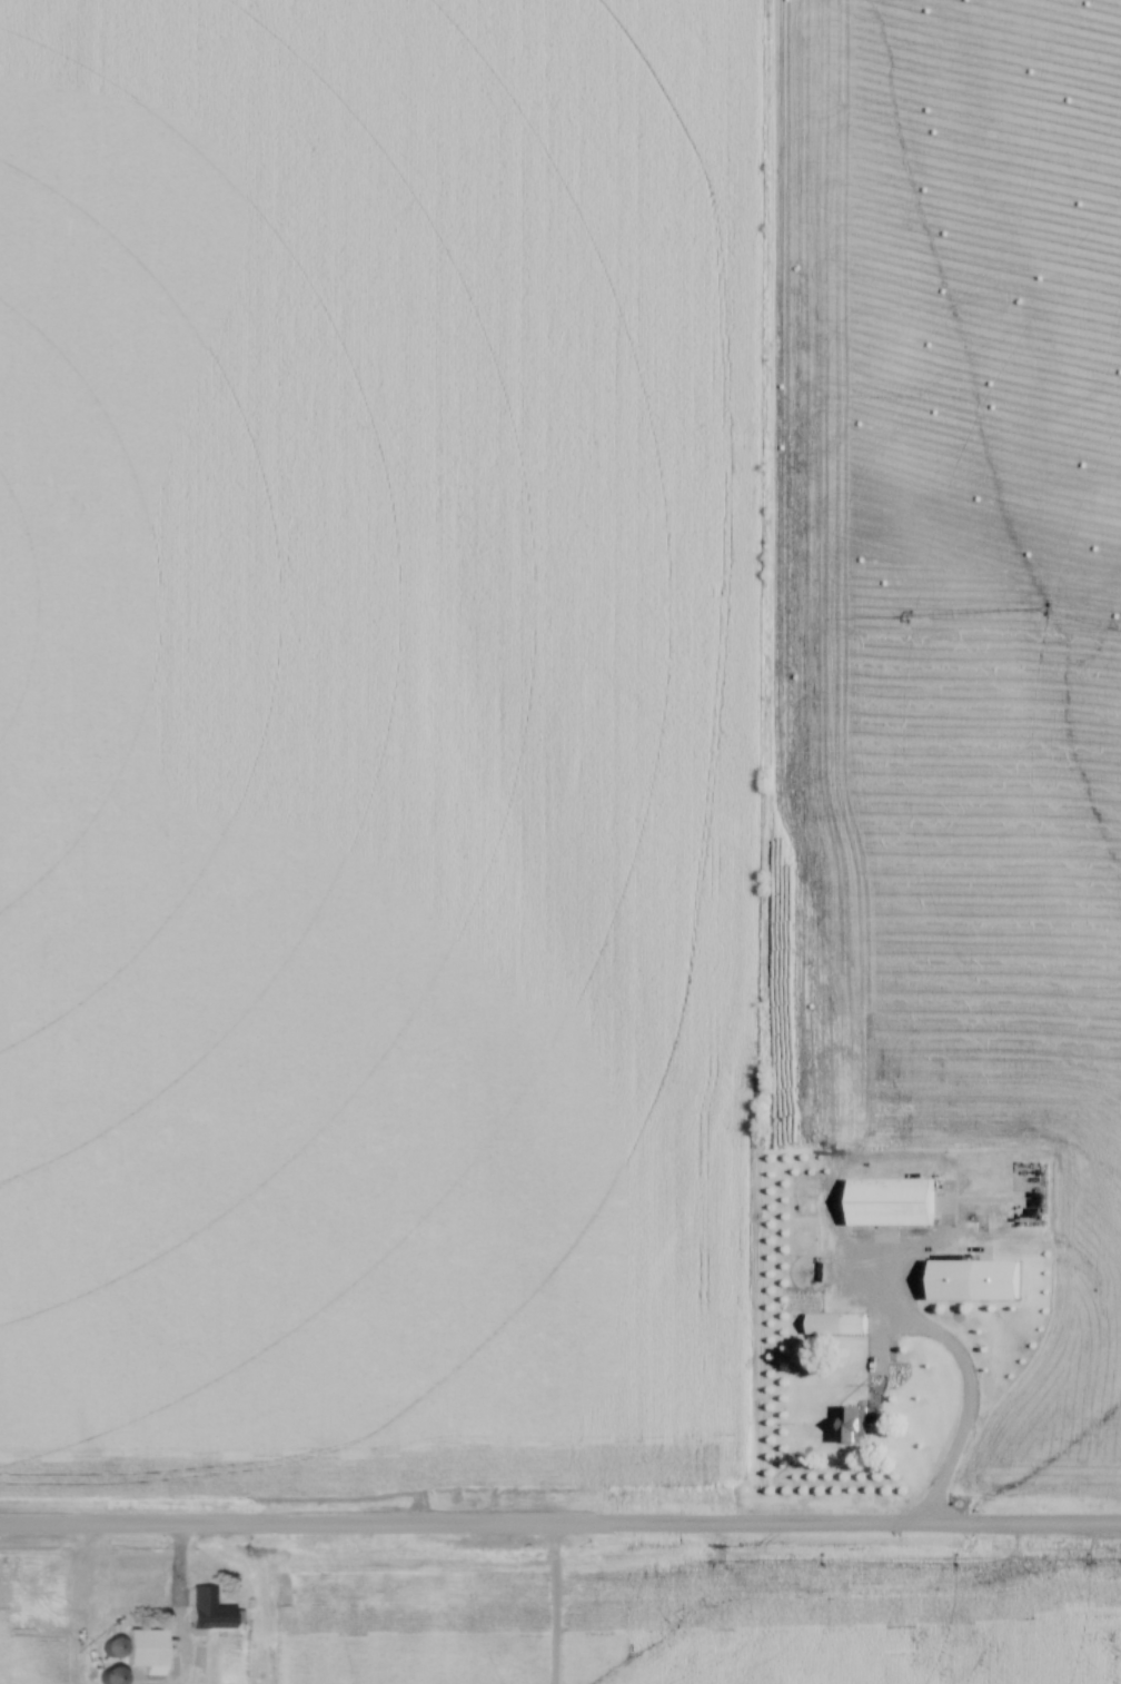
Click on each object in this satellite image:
building: (885, 1202)
building: (949, 1280)
building: (841, 1324)
road: (970, 1385)
road: (559, 1526)
building: (207, 1612)
building: (139, 1648)

